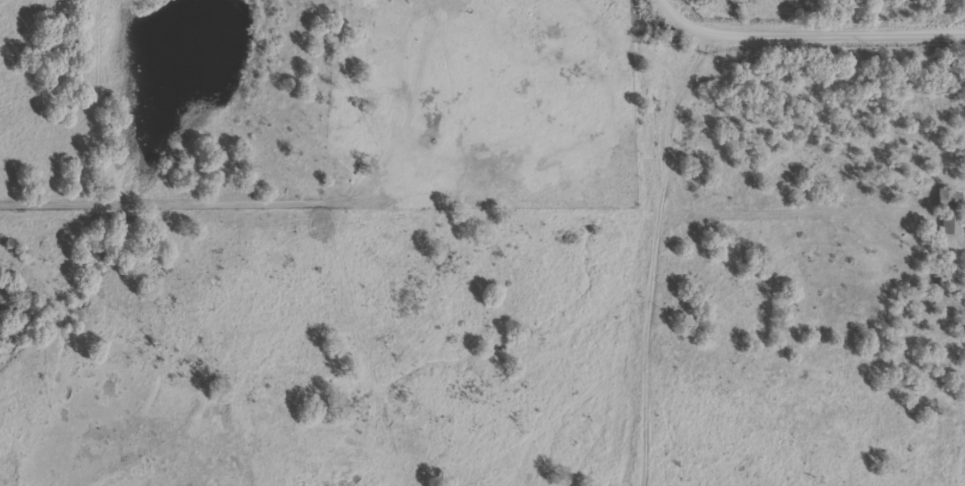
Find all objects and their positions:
road: (808, 35)
building: (946, 212)
road: (680, 259)
road: (824, 467)

